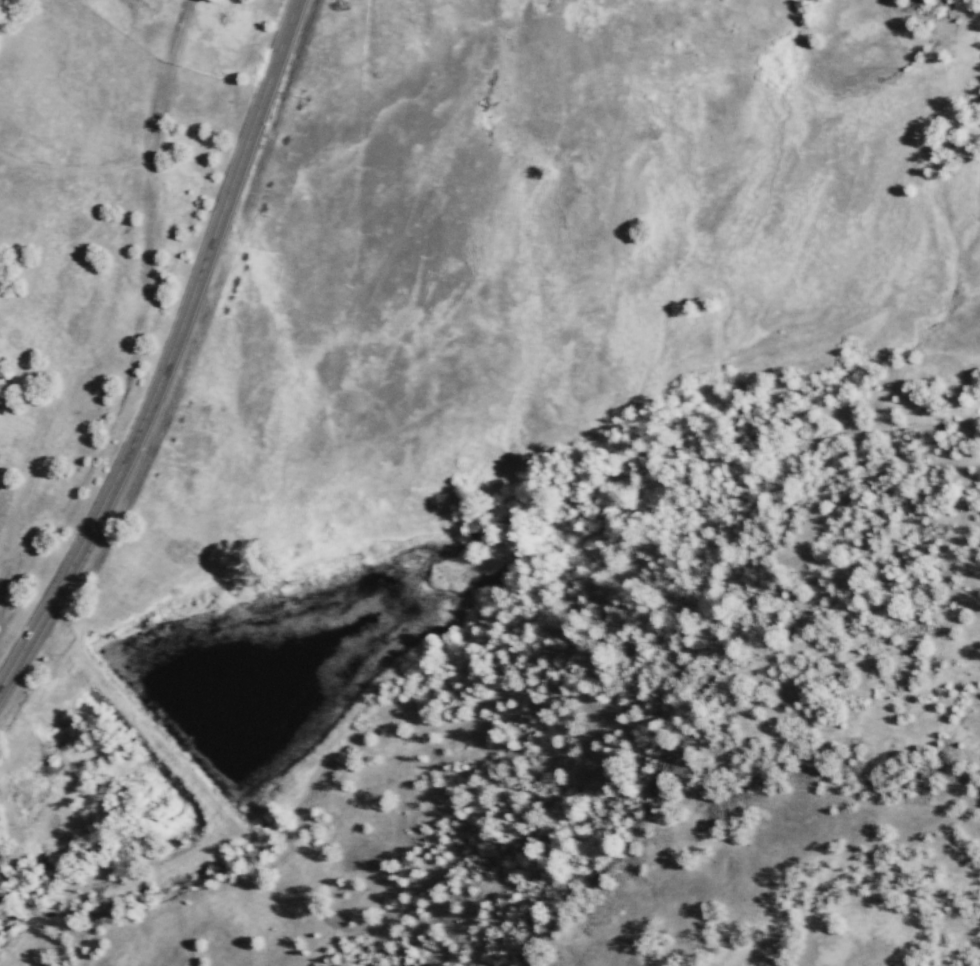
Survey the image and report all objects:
road: (78, 168)
road: (167, 352)

